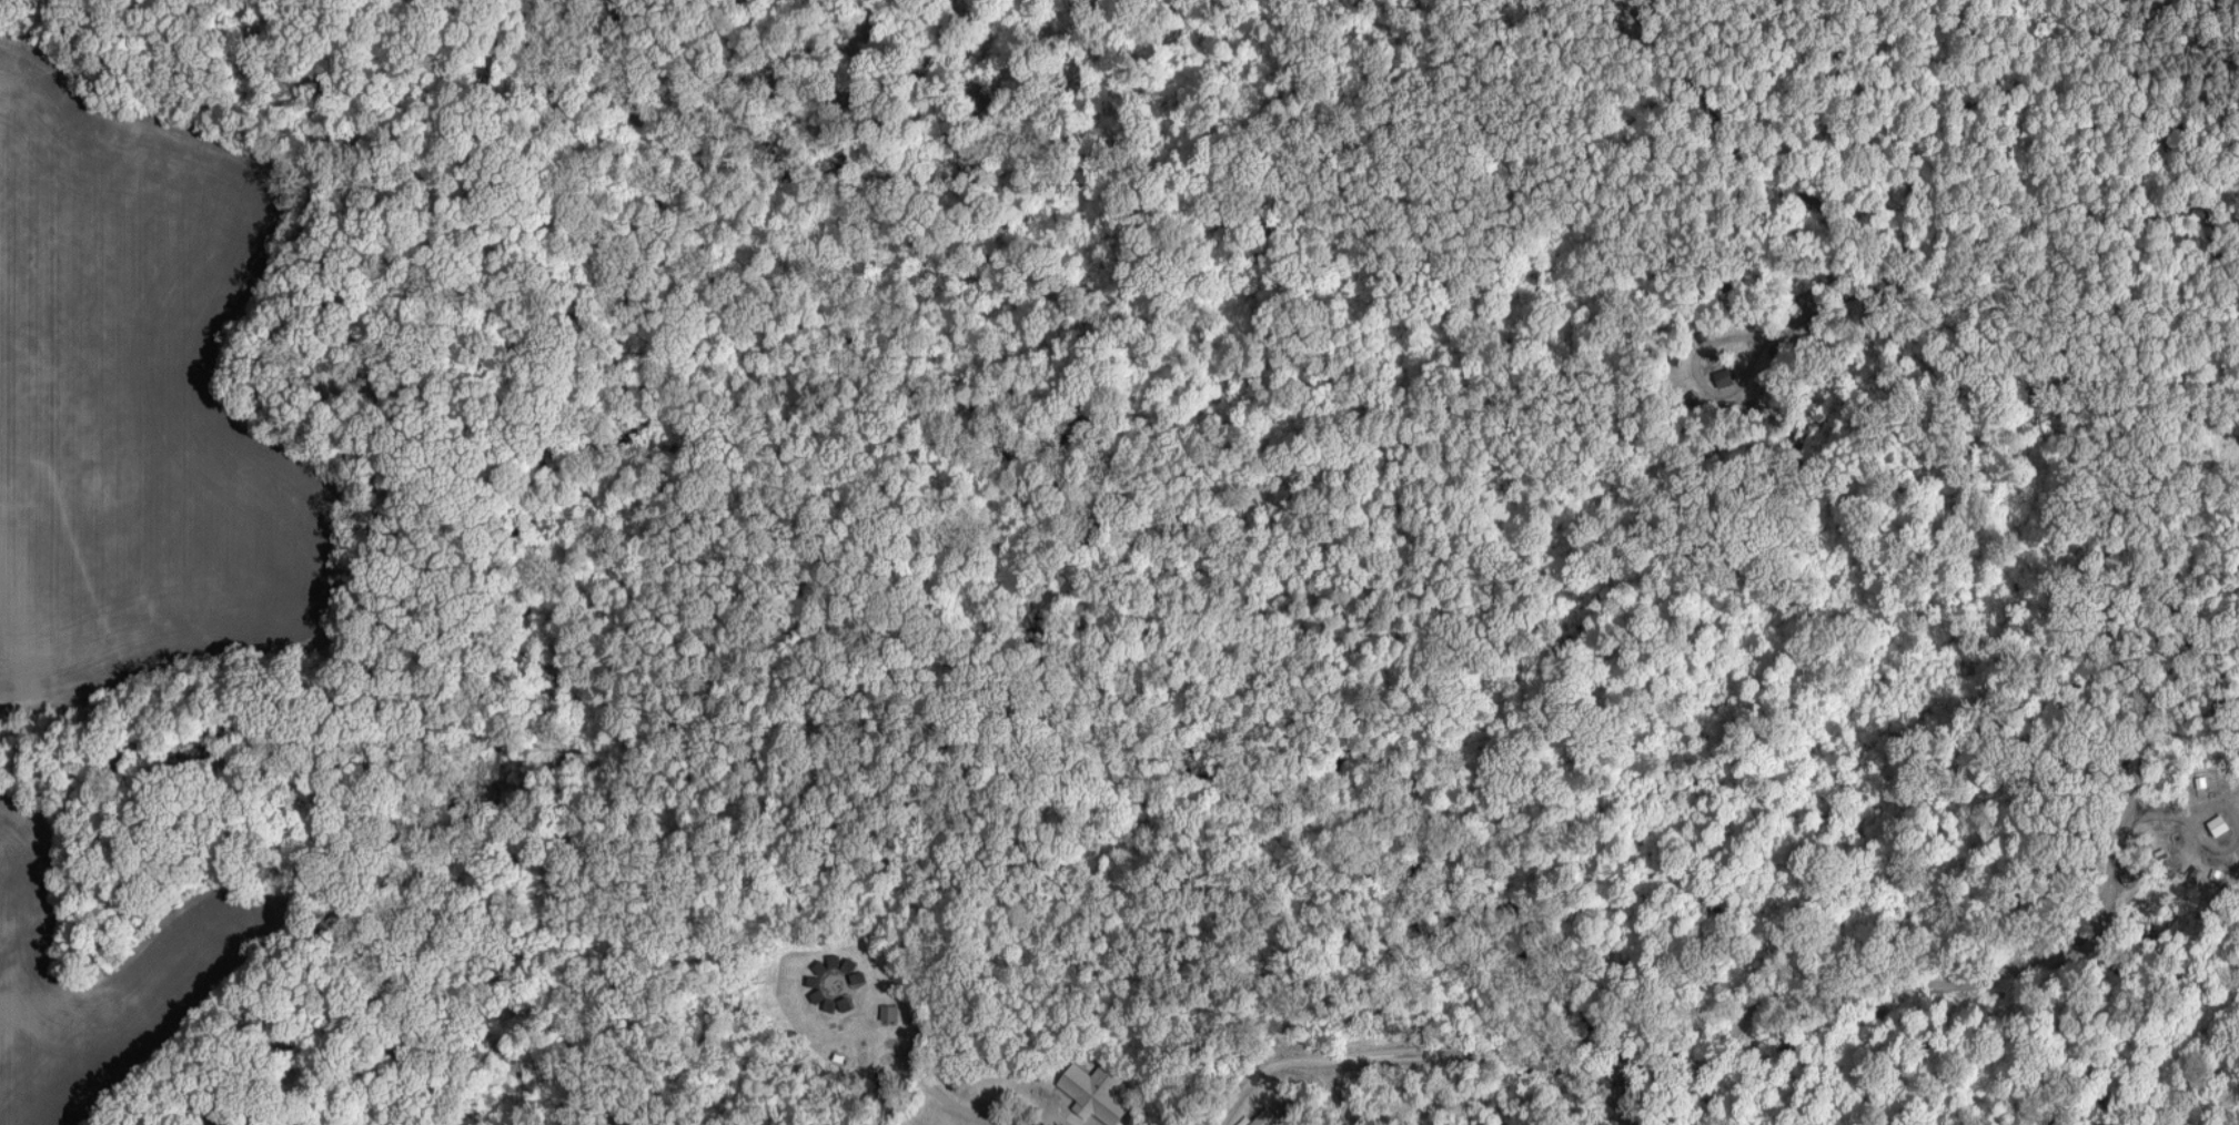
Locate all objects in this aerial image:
building: (1724, 376)
building: (2219, 823)
road: (1671, 961)
building: (848, 964)
road: (2169, 965)
building: (889, 1011)
building: (1096, 1092)
road: (948, 1101)
building: (1267, 1117)

